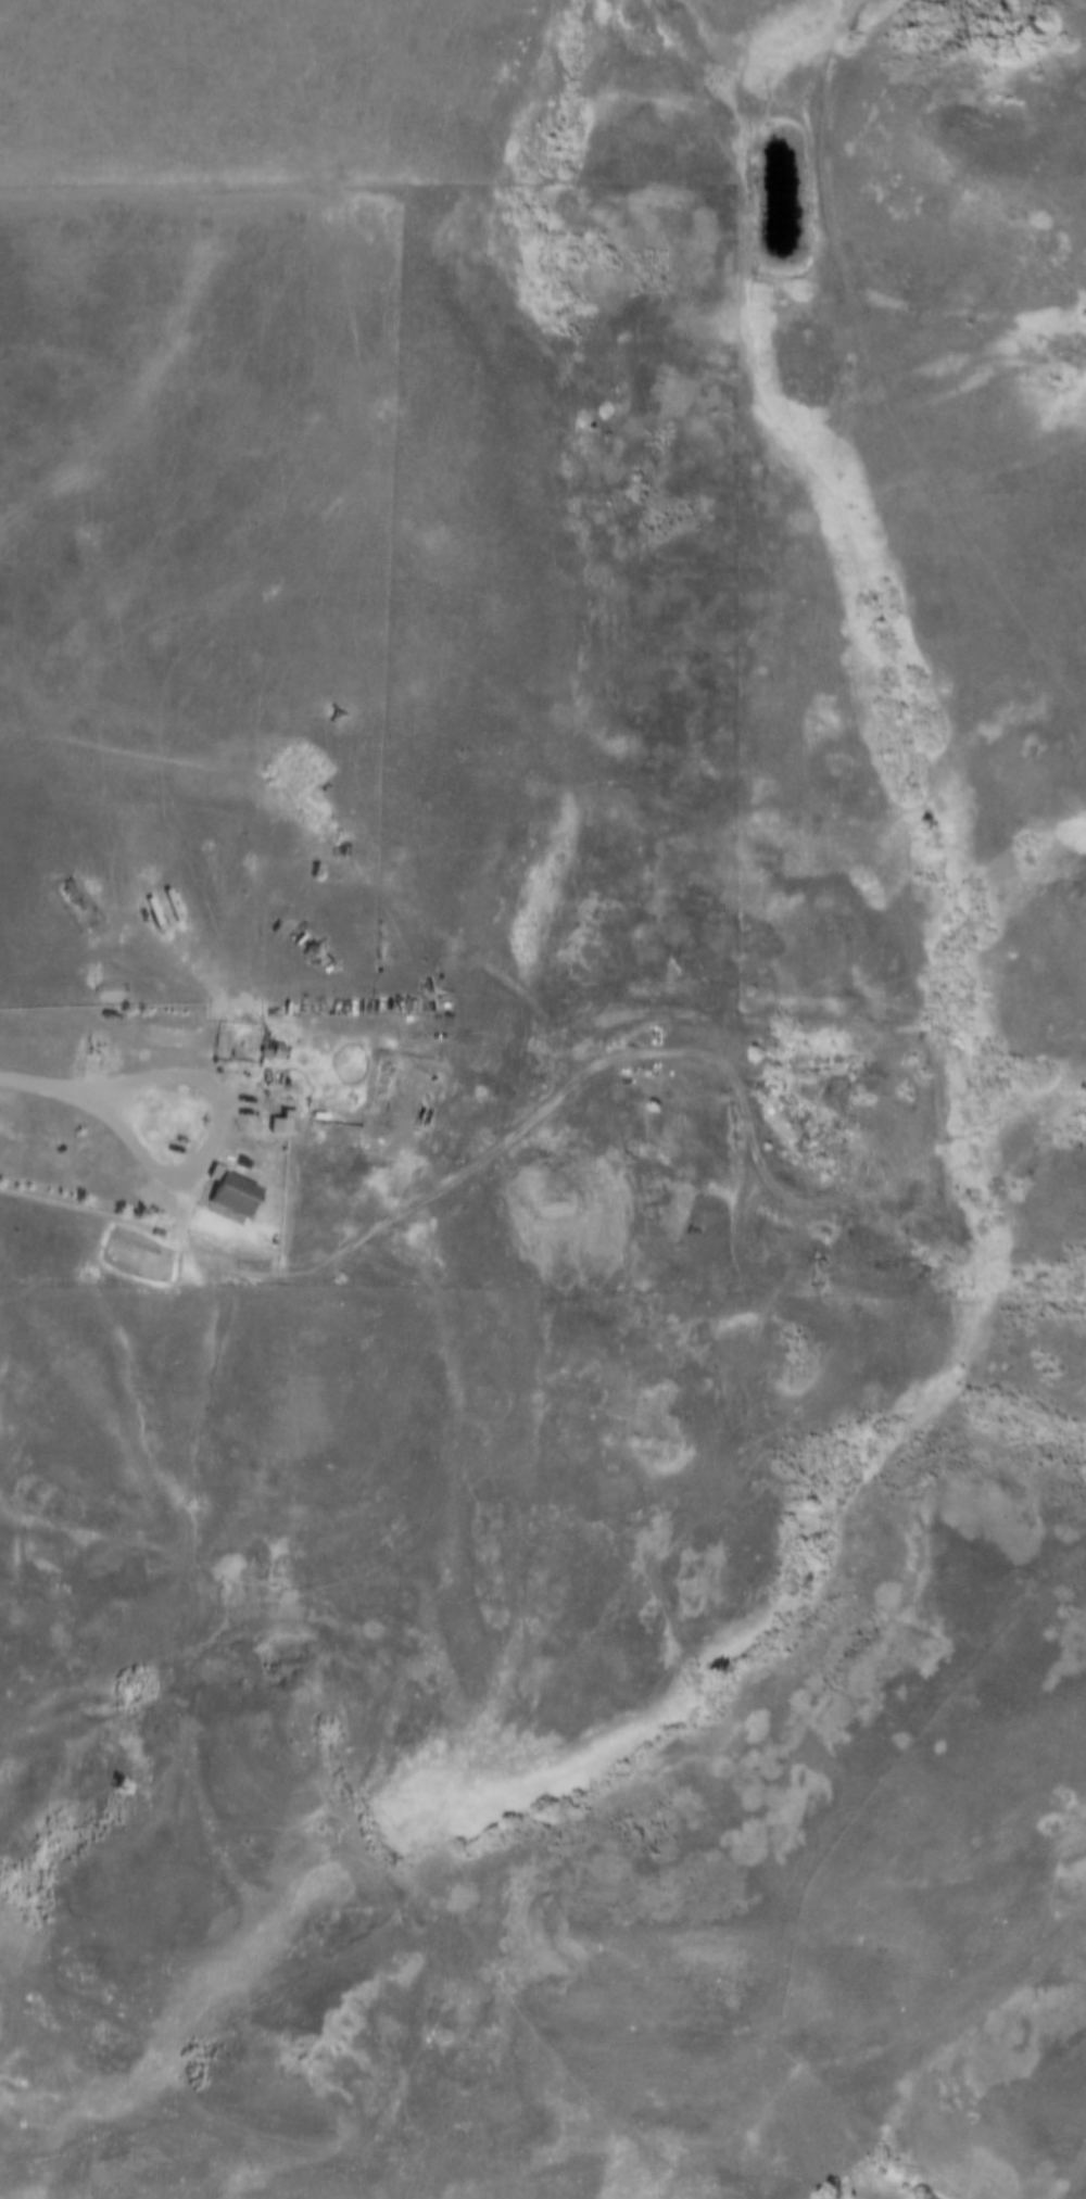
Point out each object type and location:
building: (93, 1048)
road: (70, 1092)
building: (182, 1117)
building: (275, 1124)
building: (232, 1192)

